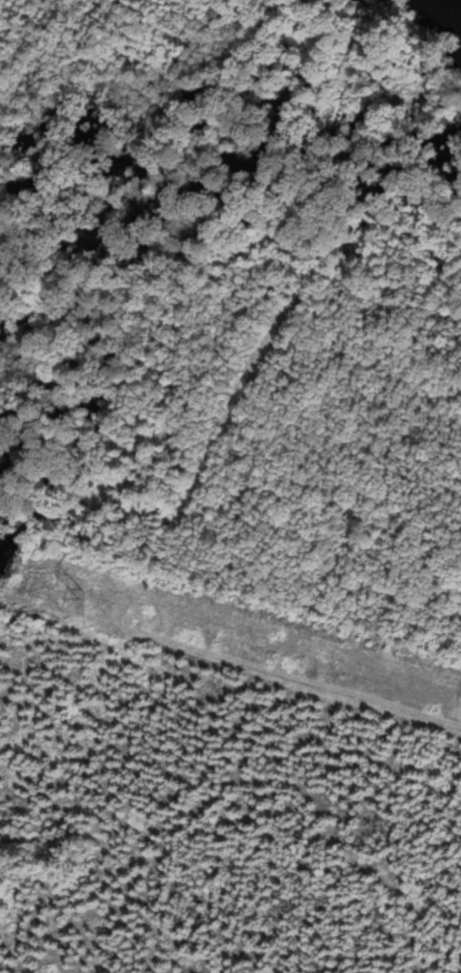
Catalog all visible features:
power tower: (82, 591)

